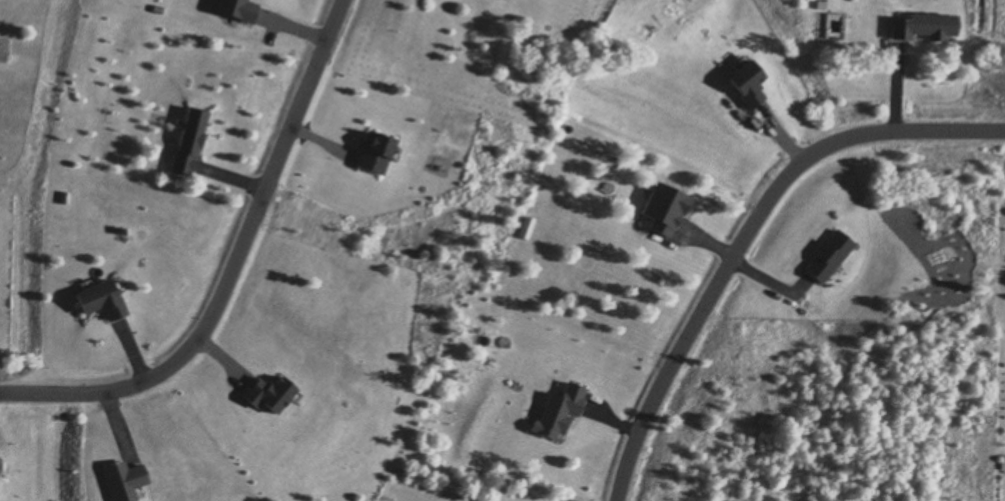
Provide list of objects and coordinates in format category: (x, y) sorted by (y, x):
building: (923, 25)
building: (188, 140)
building: (665, 208)
road: (747, 229)
road: (227, 266)
building: (100, 299)

